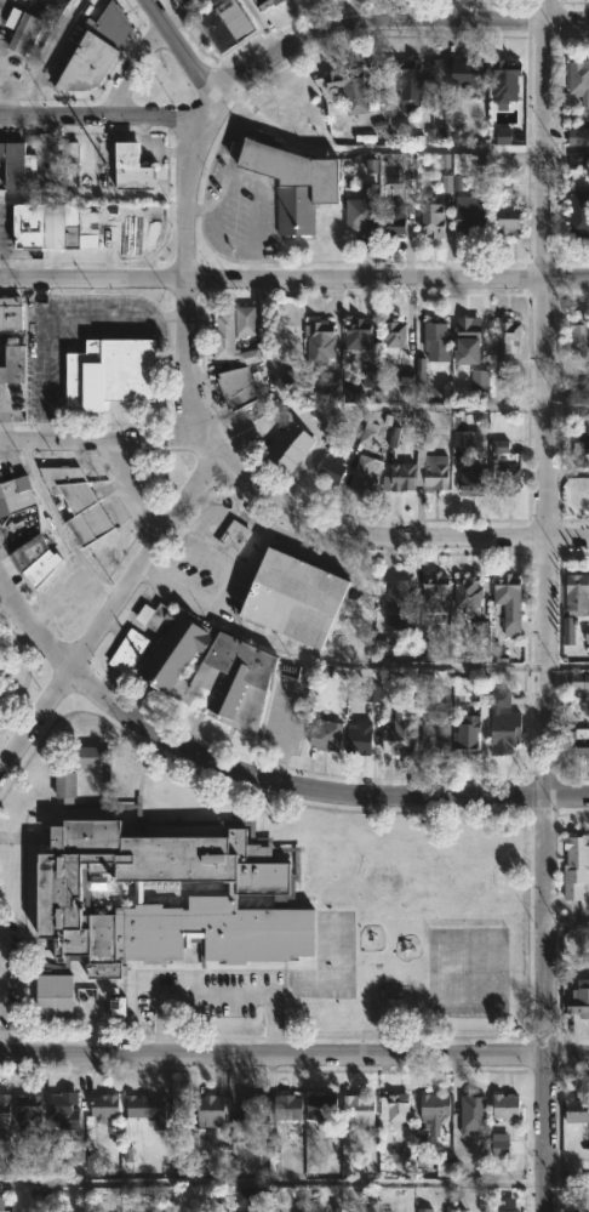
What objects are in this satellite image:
building: (181, 1)
building: (267, 2)
building: (50, 5)
road: (396, 22)
road: (262, 23)
building: (225, 25)
building: (22, 30)
building: (96, 51)
road: (179, 53)
building: (469, 73)
building: (579, 80)
building: (507, 81)
building: (411, 84)
building: (348, 92)
road: (107, 115)
building: (502, 136)
building: (578, 137)
road: (566, 147)
road: (377, 149)
building: (70, 158)
building: (16, 165)
road: (230, 167)
building: (132, 169)
building: (578, 171)
building: (464, 173)
building: (291, 182)
building: (446, 183)
road: (255, 204)
building: (579, 205)
building: (469, 215)
building: (360, 216)
building: (431, 220)
building: (394, 221)
building: (507, 221)
building: (52, 226)
road: (216, 247)
road: (253, 266)
road: (293, 278)
road: (198, 285)
building: (10, 313)
road: (122, 318)
building: (245, 319)
building: (358, 332)
building: (394, 332)
building: (468, 332)
building: (435, 334)
building: (507, 335)
building: (579, 336)
building: (230, 340)
building: (319, 341)
building: (13, 365)
building: (419, 370)
building: (110, 375)
road: (44, 381)
building: (479, 381)
building: (236, 386)
building: (333, 386)
building: (577, 389)
road: (544, 399)
road: (287, 405)
road: (417, 406)
road: (567, 408)
road: (321, 422)
building: (368, 433)
building: (465, 439)
building: (292, 442)
building: (581, 445)
road: (103, 449)
building: (431, 468)
building: (331, 470)
building: (504, 471)
building: (364, 474)
building: (402, 476)
building: (471, 480)
building: (16, 494)
building: (79, 502)
road: (61, 530)
road: (400, 534)
building: (233, 535)
building: (34, 561)
road: (239, 562)
building: (578, 593)
building: (296, 596)
building: (433, 596)
building: (471, 596)
building: (509, 601)
building: (399, 602)
road: (109, 618)
building: (479, 627)
road: (32, 628)
building: (567, 631)
building: (126, 649)
building: (424, 653)
road: (336, 660)
building: (206, 666)
road: (567, 666)
building: (425, 681)
building: (579, 681)
building: (371, 693)
building: (504, 723)
building: (470, 728)
building: (326, 732)
building: (435, 733)
building: (399, 734)
building: (359, 738)
building: (574, 742)
road: (291, 785)
road: (567, 800)
building: (576, 866)
building: (261, 886)
road: (567, 924)
park: (446, 969)
park: (486, 969)
road: (216, 995)
building: (581, 1001)
road: (545, 1006)
building: (116, 1007)
road: (0, 1017)
road: (294, 1052)
building: (474, 1100)
building: (505, 1105)
building: (104, 1106)
building: (144, 1106)
building: (252, 1108)
building: (287, 1108)
building: (321, 1108)
building: (395, 1108)
building: (358, 1109)
building: (210, 1110)
building: (28, 1111)
building: (62, 1113)
building: (434, 1113)
building: (574, 1115)
building: (4, 1120)
building: (499, 1144)
building: (92, 1165)
road: (271, 1184)
road: (566, 1184)
building: (1, 1196)
building: (251, 1196)
building: (423, 1210)

